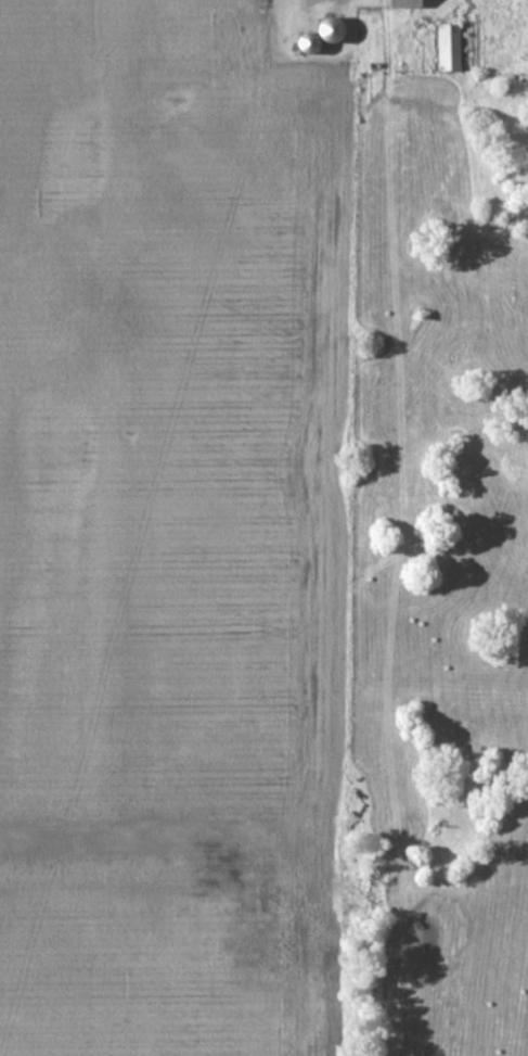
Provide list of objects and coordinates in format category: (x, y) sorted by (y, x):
building: (409, 3)
silo: (333, 29)
silo: (310, 42)
building: (452, 47)

